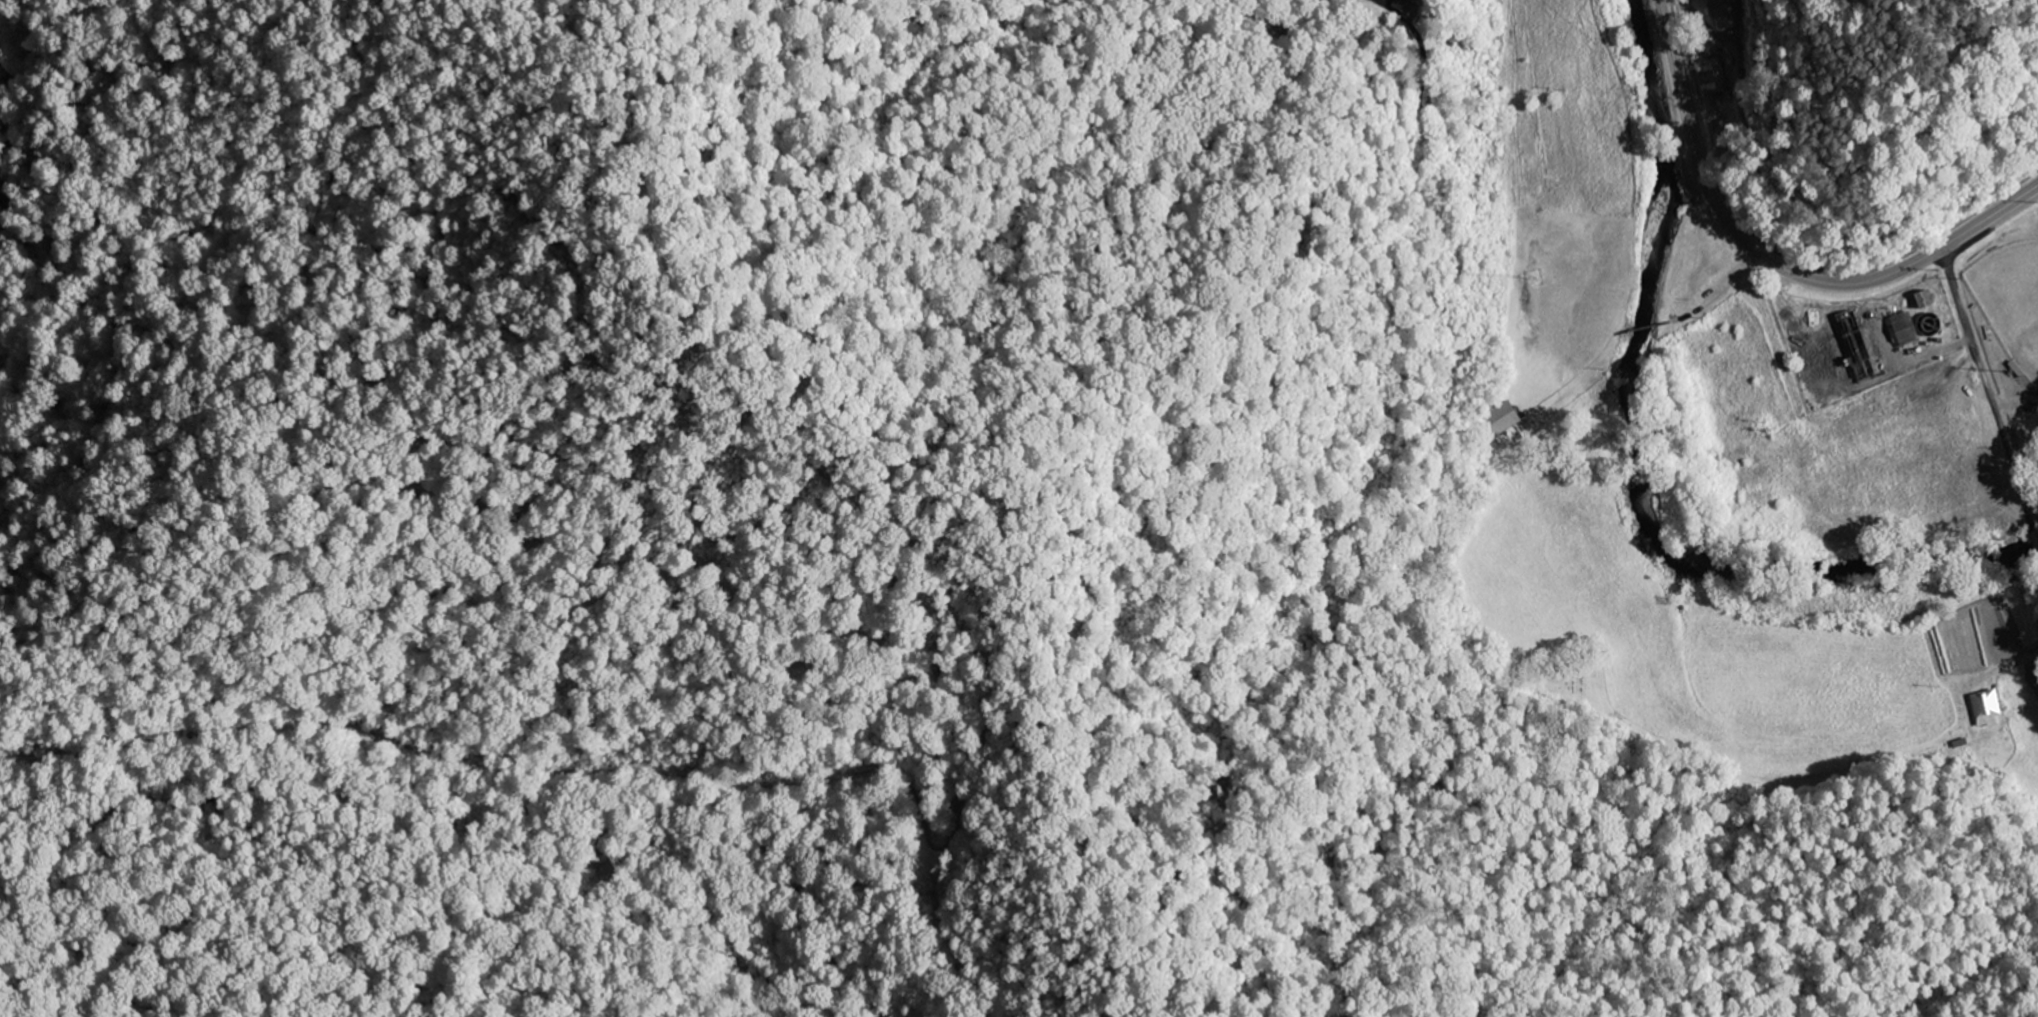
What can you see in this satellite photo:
building: (1405, 7)
building: (1721, 13)
building: (1712, 77)
road: (1774, 260)
road: (1709, 292)
road: (1635, 327)
building: (1903, 331)
road: (1570, 369)
road: (1989, 386)
building: (1503, 419)
river: (1642, 467)
road: (2035, 534)
building: (1985, 709)

